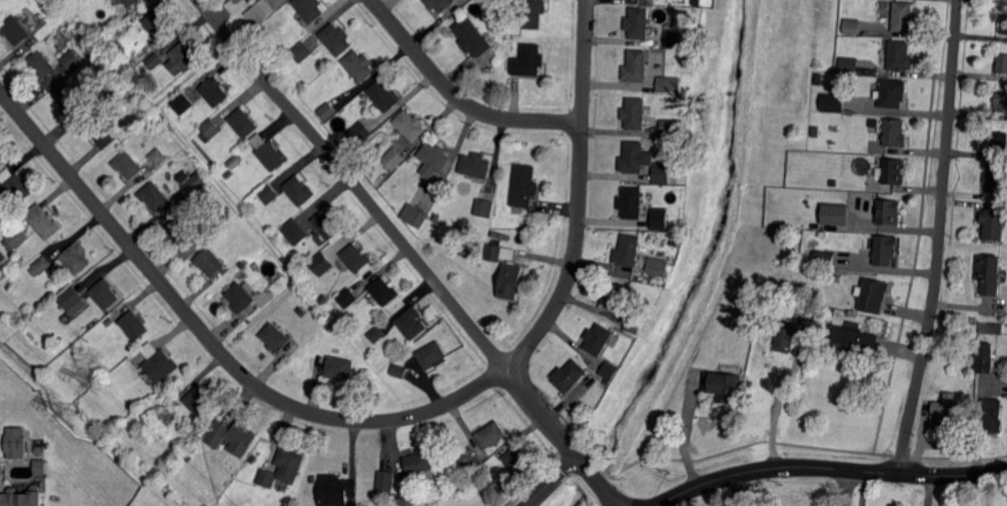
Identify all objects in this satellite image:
building: (489, 1)
building: (131, 2)
building: (697, 2)
building: (505, 3)
building: (440, 4)
building: (309, 9)
building: (260, 11)
building: (533, 14)
building: (903, 16)
building: (638, 22)
building: (157, 23)
building: (1003, 24)
building: (852, 26)
building: (15, 29)
building: (101, 31)
building: (473, 37)
building: (336, 38)
building: (674, 38)
building: (107, 39)
building: (302, 52)
building: (899, 56)
building: (71, 59)
building: (181, 59)
building: (155, 60)
building: (529, 60)
building: (1002, 63)
building: (41, 65)
building: (849, 65)
building: (358, 66)
building: (636, 66)
building: (817, 79)
building: (669, 84)
building: (112, 85)
building: (214, 91)
building: (890, 93)
building: (383, 96)
building: (68, 97)
road: (459, 97)
building: (831, 102)
building: (1000, 102)
building: (182, 103)
building: (327, 110)
building: (636, 113)
building: (243, 123)
building: (410, 125)
building: (209, 129)
building: (672, 129)
building: (98, 130)
building: (892, 132)
building: (359, 135)
building: (998, 142)
building: (158, 156)
building: (435, 156)
building: (271, 157)
building: (633, 157)
building: (394, 158)
building: (127, 164)
building: (476, 165)
building: (891, 171)
building: (662, 172)
building: (228, 173)
building: (183, 175)
building: (996, 178)
building: (195, 184)
building: (525, 185)
building: (17, 188)
building: (299, 190)
building: (268, 193)
road: (580, 194)
building: (155, 195)
road: (370, 201)
building: (631, 203)
building: (484, 207)
building: (886, 212)
building: (2, 215)
building: (416, 215)
building: (834, 215)
building: (436, 216)
building: (660, 218)
building: (993, 223)
building: (328, 224)
building: (46, 225)
building: (181, 228)
building: (295, 231)
building: (820, 234)
road: (939, 237)
building: (16, 238)
building: (628, 250)
building: (883, 250)
building: (643, 251)
building: (493, 252)
building: (2, 258)
building: (76, 258)
building: (356, 258)
building: (824, 259)
building: (208, 262)
building: (320, 263)
building: (242, 265)
building: (41, 266)
building: (658, 266)
building: (256, 267)
building: (989, 273)
building: (510, 281)
building: (248, 287)
building: (333, 290)
building: (658, 290)
building: (384, 291)
building: (104, 293)
building: (871, 295)
building: (616, 296)
building: (239, 297)
building: (347, 297)
building: (71, 298)
building: (110, 322)
building: (412, 323)
building: (745, 323)
building: (633, 324)
building: (134, 325)
building: (991, 328)
building: (377, 333)
building: (785, 336)
building: (274, 338)
building: (597, 339)
building: (851, 340)
road: (213, 343)
building: (431, 354)
building: (941, 356)
building: (985, 358)
building: (156, 362)
building: (339, 367)
building: (399, 370)
building: (609, 371)
building: (569, 375)
power tower: (98, 383)
building: (8, 384)
building: (724, 385)
building: (599, 387)
road: (780, 394)
building: (197, 402)
building: (943, 409)
power tower: (71, 413)
building: (992, 415)
building: (202, 425)
building: (491, 434)
building: (231, 437)
building: (15, 443)
building: (39, 449)
road: (577, 456)
building: (517, 461)
building: (418, 463)
building: (288, 464)
building: (468, 465)
building: (485, 466)
road: (826, 466)
building: (42, 468)
building: (266, 478)
road: (552, 481)
building: (385, 482)
road: (847, 487)
building: (336, 490)
road: (735, 490)
road: (928, 490)
building: (22, 497)

